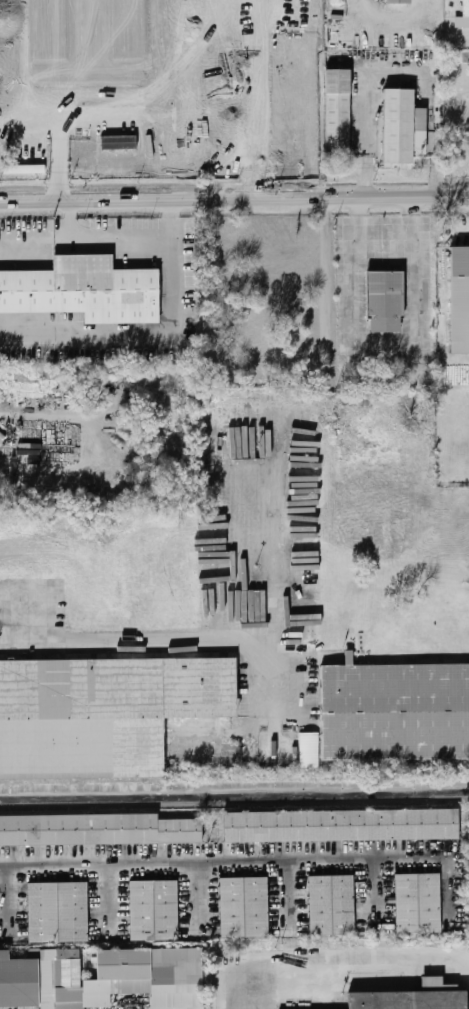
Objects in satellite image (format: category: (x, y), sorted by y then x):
building: (398, 2)
building: (466, 8)
building: (11, 10)
road: (397, 16)
building: (12, 51)
road: (402, 65)
building: (162, 73)
building: (97, 94)
road: (133, 96)
building: (141, 99)
road: (55, 100)
building: (338, 111)
road: (40, 122)
building: (402, 128)
building: (118, 142)
building: (40, 154)
road: (234, 199)
road: (466, 231)
road: (119, 234)
road: (35, 239)
building: (83, 291)
building: (460, 294)
building: (383, 301)
road: (133, 334)
road: (463, 357)
road: (283, 636)
road: (164, 639)
building: (395, 711)
building: (102, 713)
building: (309, 750)
building: (341, 824)
building: (97, 829)
road: (219, 862)
building: (418, 903)
building: (331, 905)
building: (244, 907)
building: (153, 910)
building: (58, 912)
road: (328, 960)
building: (102, 978)
building: (408, 999)

